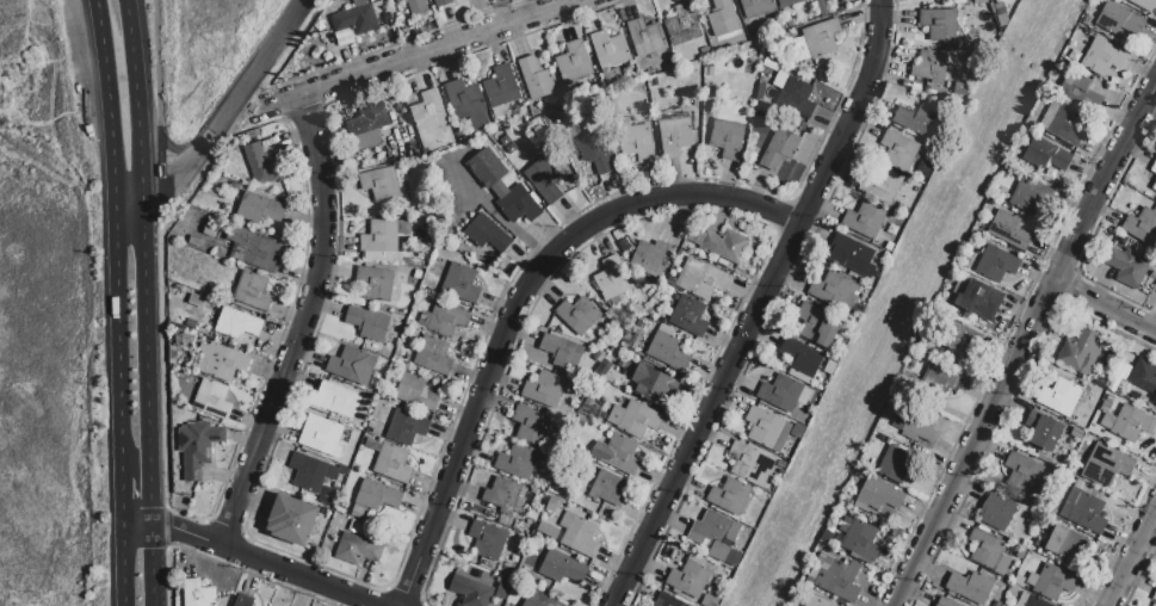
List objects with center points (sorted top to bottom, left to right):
building: (375, 1)
building: (443, 2)
building: (789, 2)
building: (1144, 5)
building: (416, 6)
building: (756, 7)
building: (723, 19)
building: (1119, 19)
building: (357, 20)
building: (939, 24)
road: (99, 25)
building: (682, 25)
building: (647, 37)
building: (822, 38)
road: (394, 45)
road: (437, 49)
building: (611, 50)
building: (1102, 57)
street lamp: (1149, 62)
building: (574, 66)
building: (928, 68)
building: (536, 79)
building: (1072, 86)
road: (235, 87)
building: (501, 89)
building: (793, 95)
building: (466, 103)
road: (276, 106)
road: (159, 113)
road: (301, 113)
road: (227, 118)
building: (429, 118)
building: (917, 120)
building: (1063, 123)
building: (367, 125)
road: (109, 128)
building: (675, 137)
building: (727, 138)
building: (636, 140)
building: (595, 148)
building: (779, 149)
building: (898, 150)
building: (1046, 154)
building: (262, 166)
building: (488, 168)
building: (1154, 168)
building: (544, 180)
building: (880, 184)
building: (382, 185)
building: (1154, 187)
parking lot: (486, 191)
building: (1030, 196)
building: (518, 205)
building: (260, 209)
road: (680, 211)
building: (865, 219)
building: (1142, 227)
road: (1093, 230)
building: (1009, 233)
building: (488, 234)
building: (384, 236)
building: (724, 246)
building: (253, 249)
road: (1067, 249)
building: (852, 255)
building: (649, 258)
street lamp: (1045, 260)
building: (991, 262)
road: (144, 264)
building: (1126, 267)
building: (613, 278)
building: (700, 279)
building: (460, 283)
building: (375, 284)
road: (1068, 287)
building: (253, 291)
building: (835, 291)
building: (978, 299)
road: (517, 301)
road: (756, 304)
road: (774, 307)
road: (1105, 310)
building: (579, 315)
building: (688, 316)
building: (444, 320)
road: (1012, 322)
building: (237, 323)
building: (367, 323)
road: (302, 324)
building: (817, 326)
road: (117, 339)
building: (184, 340)
road: (1025, 346)
building: (560, 352)
building: (667, 352)
building: (1080, 352)
building: (434, 355)
building: (800, 357)
building: (223, 363)
building: (353, 365)
building: (828, 367)
building: (1121, 371)
building: (1144, 376)
building: (940, 379)
building: (1112, 384)
building: (654, 385)
building: (544, 390)
building: (416, 392)
building: (780, 394)
building: (212, 400)
building: (1062, 400)
building: (338, 401)
road: (1007, 407)
building: (633, 419)
building: (1126, 422)
building: (530, 425)
building: (913, 425)
building: (764, 426)
building: (407, 427)
building: (1043, 432)
building: (322, 435)
building: (197, 447)
building: (618, 453)
road: (234, 456)
building: (390, 460)
building: (520, 463)
building: (750, 464)
building: (895, 464)
building: (1106, 466)
building: (311, 472)
building: (1024, 472)
street lamp: (970, 478)
building: (605, 488)
building: (502, 495)
building: (731, 496)
building: (879, 496)
building: (375, 499)
road: (120, 501)
building: (551, 503)
building: (1084, 507)
street lamp: (1138, 509)
building: (996, 512)
building: (531, 513)
building: (292, 520)
building: (359, 527)
road: (137, 528)
road: (169, 528)
road: (225, 528)
building: (548, 530)
road: (187, 533)
building: (579, 534)
building: (713, 534)
road: (1121, 536)
building: (1026, 537)
building: (488, 540)
building: (861, 540)
building: (1068, 545)
street lamp: (180, 546)
building: (357, 549)
building: (987, 551)
building: (1019, 552)
road: (1131, 557)
road: (223, 563)
road: (122, 567)
road: (154, 567)
building: (562, 568)
building: (1155, 571)
road: (1139, 573)
road: (308, 575)
street lamp: (641, 576)
building: (1018, 577)
building: (834, 579)
building: (688, 580)
road: (358, 581)
building: (1053, 582)
building: (518, 586)
street lamp: (1101, 586)
building: (971, 587)
building: (1012, 590)
building: (470, 592)
road: (404, 593)
building: (197, 594)
building: (1154, 596)
building: (243, 600)
building: (531, 600)
building: (667, 600)
building: (707, 600)
building: (1030, 601)
building: (823, 602)
building: (945, 602)

